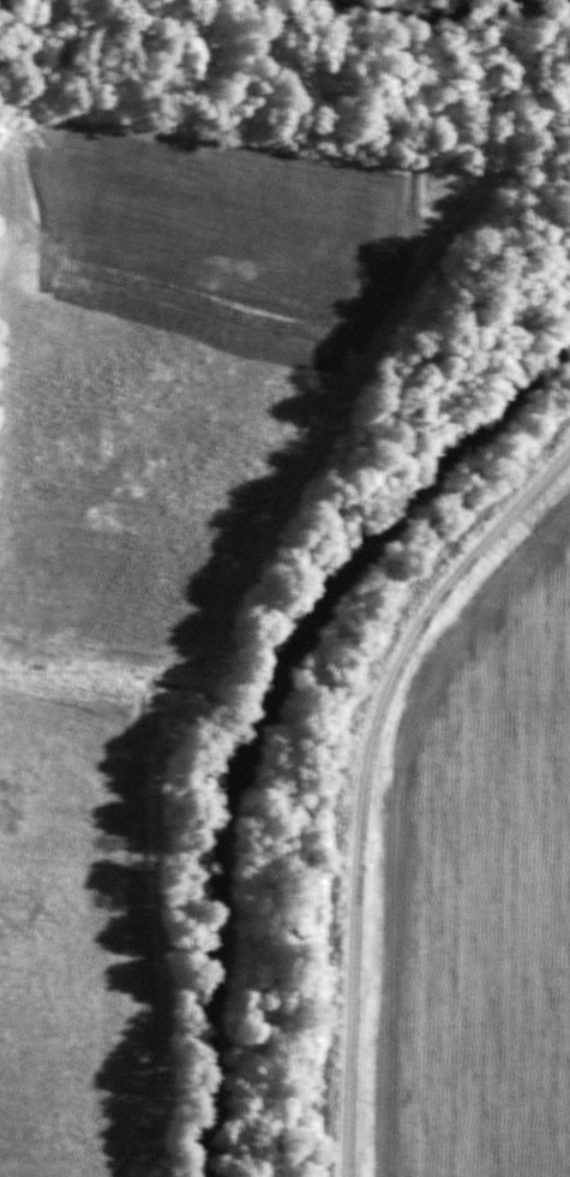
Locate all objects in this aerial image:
road: (364, 781)

